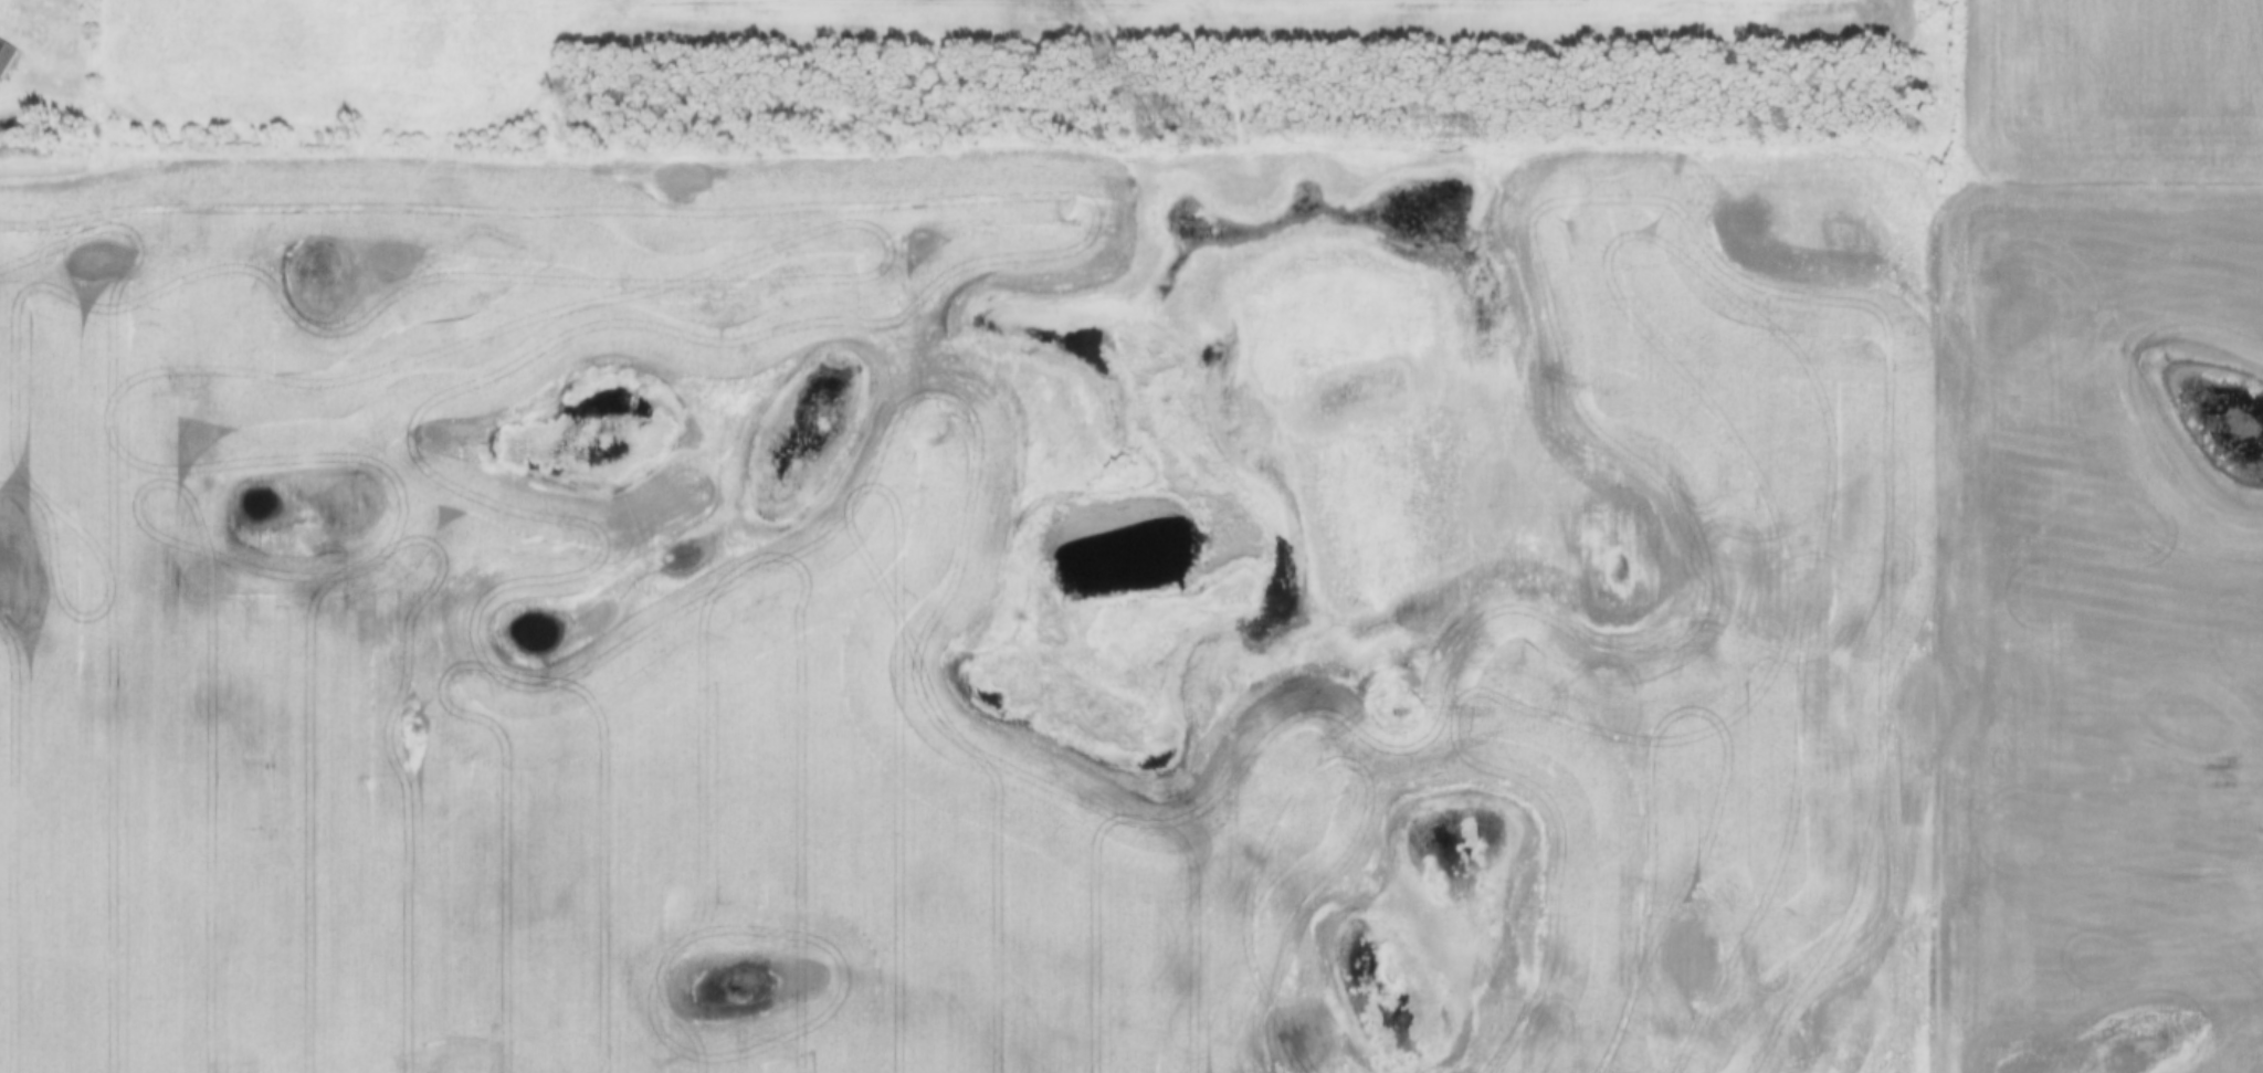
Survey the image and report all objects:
building: (6, 57)

